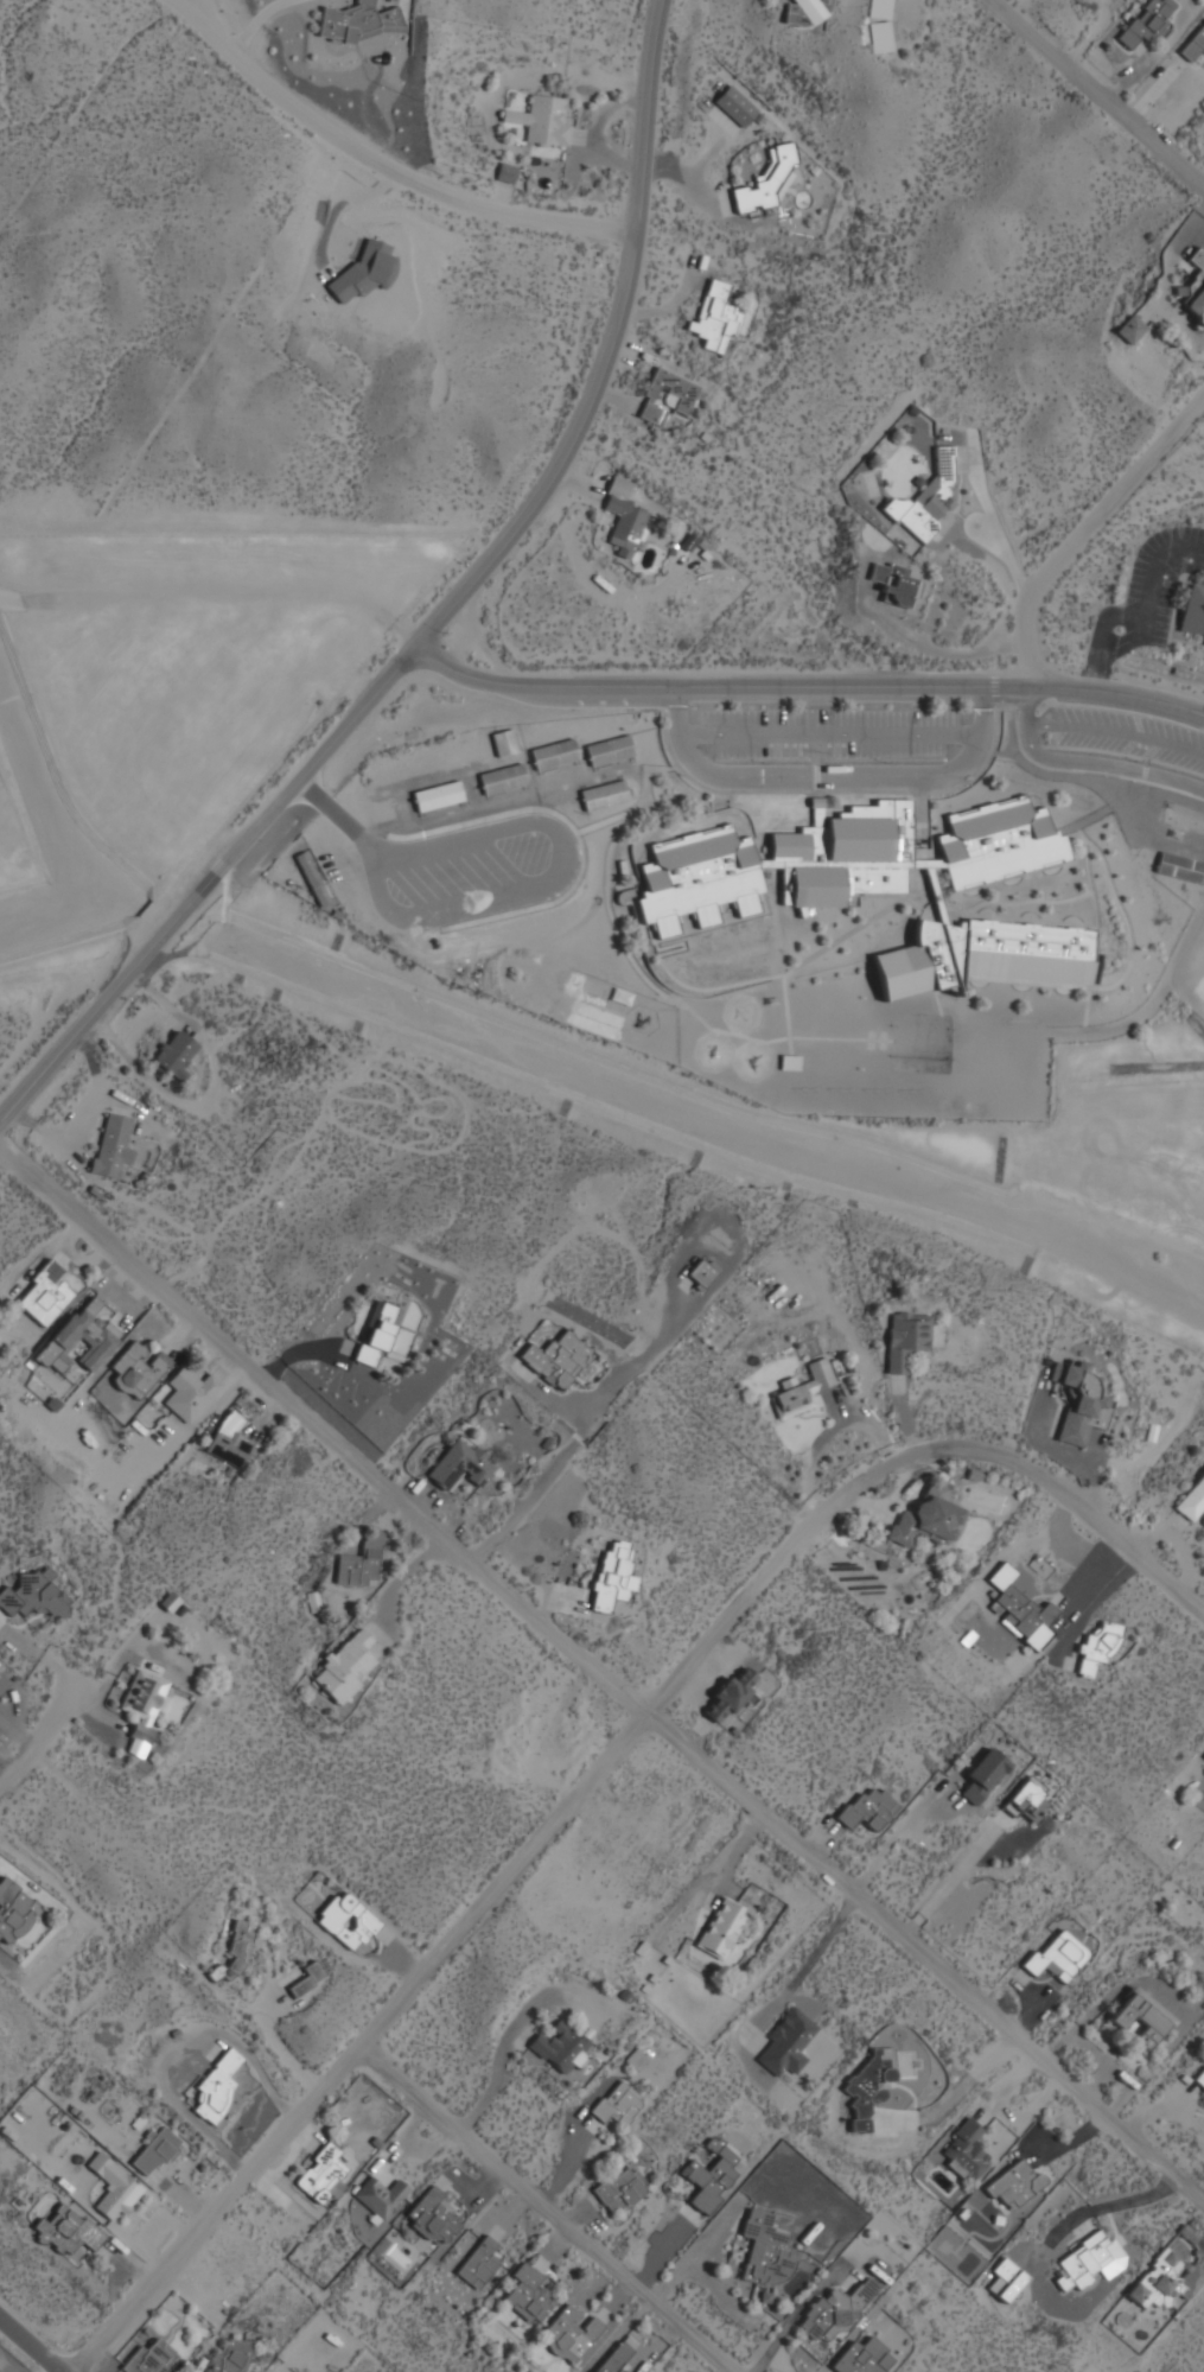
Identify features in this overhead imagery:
road: (191, 7)
road: (203, 7)
building: (808, 11)
building: (358, 21)
building: (1148, 21)
building: (880, 25)
building: (1195, 44)
road: (1103, 84)
building: (737, 104)
building: (542, 120)
road: (400, 164)
building: (507, 172)
building: (766, 180)
building: (1195, 286)
building: (716, 316)
building: (1128, 330)
building: (667, 395)
building: (930, 497)
building: (624, 515)
road: (1087, 527)
building: (890, 580)
building: (1193, 609)
road: (440, 613)
road: (801, 689)
road: (1028, 705)
road: (815, 712)
road: (981, 713)
road: (1117, 733)
road: (828, 736)
building: (507, 740)
building: (610, 749)
building: (555, 752)
road: (1103, 768)
building: (503, 777)
road: (804, 780)
building: (605, 794)
building: (438, 795)
building: (383, 809)
building: (836, 858)
building: (1179, 866)
building: (314, 877)
building: (983, 954)
building: (176, 1053)
building: (790, 1062)
building: (113, 1145)
building: (701, 1272)
building: (45, 1293)
building: (378, 1333)
building: (82, 1336)
building: (905, 1338)
building: (558, 1359)
building: (138, 1369)
building: (803, 1390)
building: (190, 1392)
building: (1079, 1401)
building: (230, 1438)
building: (464, 1465)
building: (1192, 1501)
road: (1092, 1515)
building: (926, 1519)
building: (361, 1563)
building: (612, 1575)
building: (33, 1595)
building: (1021, 1610)
building: (1098, 1647)
building: (346, 1665)
road: (606, 1668)
building: (731, 1694)
road: (79, 1700)
building: (145, 1705)
building: (1203, 1754)
building: (1203, 1759)
building: (982, 1776)
building: (1028, 1799)
building: (868, 1808)
road: (501, 1880)
building: (13, 1909)
building: (348, 1920)
building: (724, 1927)
building: (234, 1951)
building: (1058, 1956)
building: (307, 1977)
building: (1142, 2018)
road: (267, 2030)
building: (788, 2043)
building: (561, 2048)
building: (1199, 2079)
building: (218, 2085)
building: (875, 2087)
building: (618, 2103)
building: (967, 2150)
building: (157, 2151)
building: (320, 2171)
building: (711, 2175)
building: (1015, 2183)
building: (115, 2186)
building: (620, 2189)
building: (381, 2195)
road: (552, 2206)
building: (433, 2215)
building: (68, 2230)
building: (766, 2251)
building: (479, 2262)
building: (1083, 2262)
building: (1005, 2279)
building: (1166, 2279)
building: (528, 2294)
building: (836, 2310)
building: (572, 2333)
road: (34, 2341)
building: (231, 2357)
building: (864, 2357)
building: (149, 2358)
building: (619, 2360)

